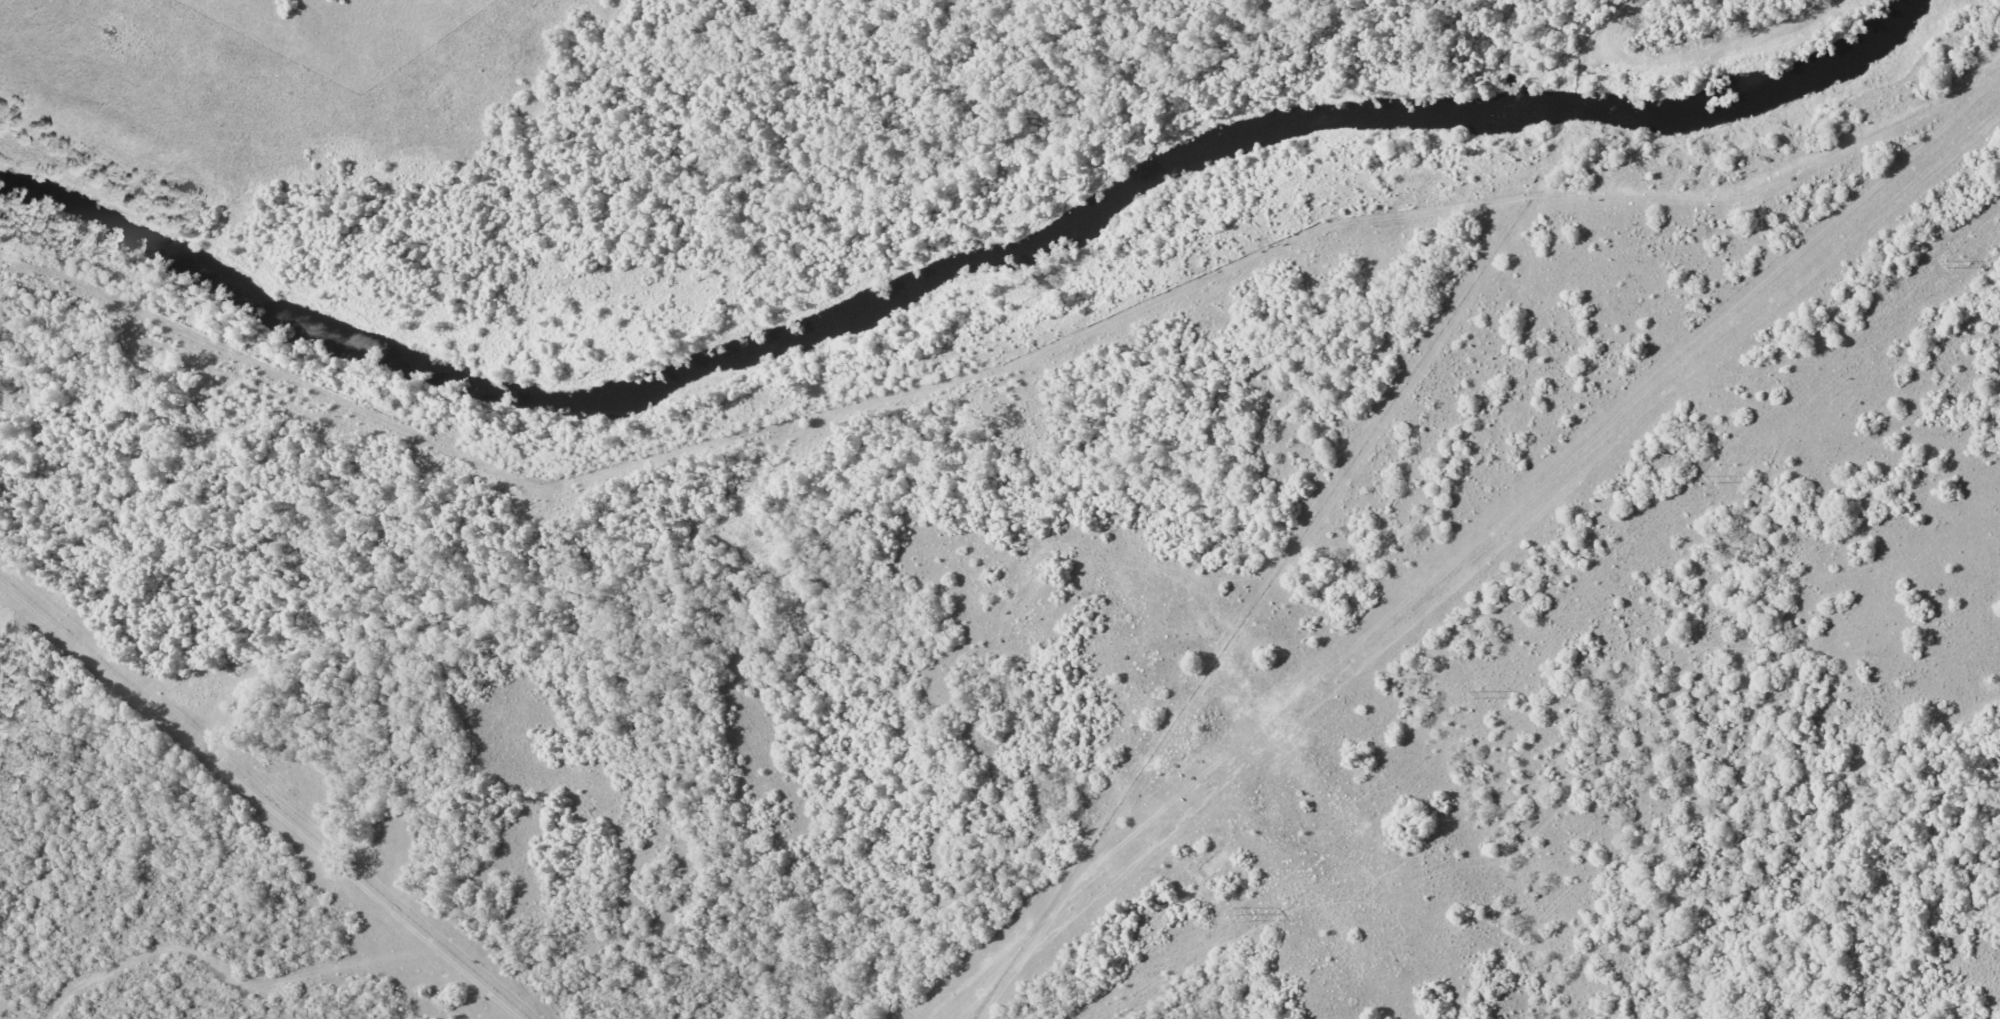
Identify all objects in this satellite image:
power tower: (1947, 264)
river: (949, 268)
power tower: (1713, 478)
power tower: (1478, 694)
power tower: (1247, 913)

